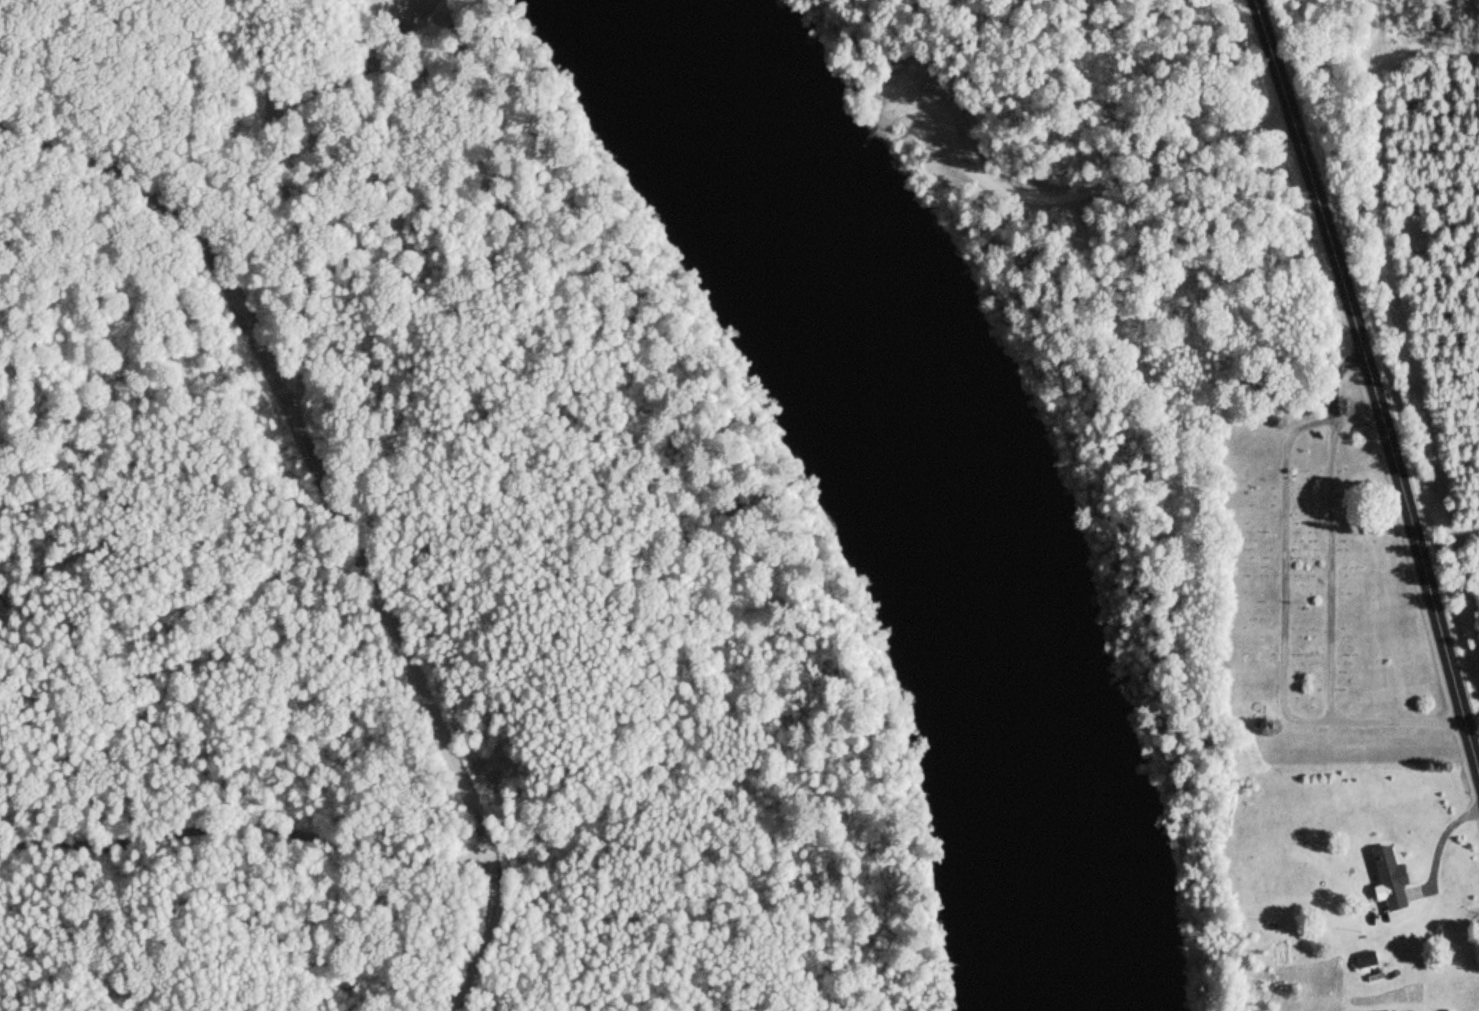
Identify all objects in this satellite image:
park: (1002, 33)
road: (249, 66)
road: (930, 83)
road: (269, 163)
road: (1080, 196)
road: (1370, 387)
river: (888, 487)
road: (337, 511)
park: (394, 557)
park: (1309, 585)
road: (246, 829)
building: (1385, 877)

